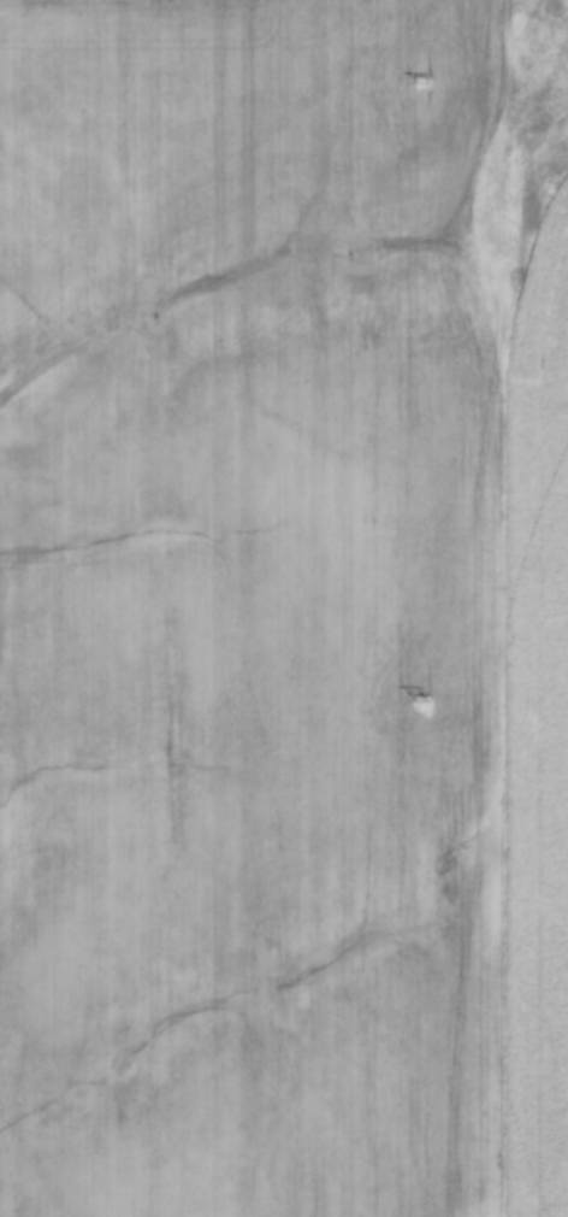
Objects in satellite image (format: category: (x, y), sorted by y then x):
power tower: (421, 82)
power tower: (419, 700)

